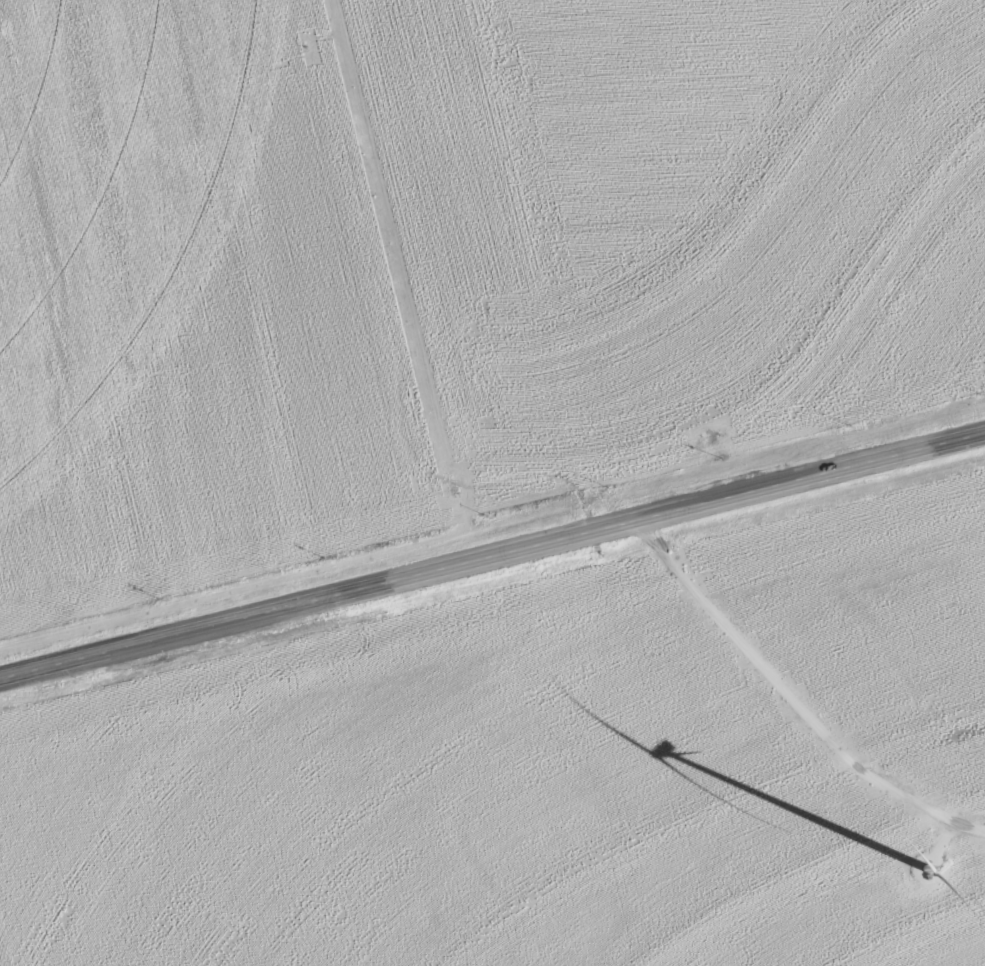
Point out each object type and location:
road: (492, 555)
wind turbine: (912, 856)

